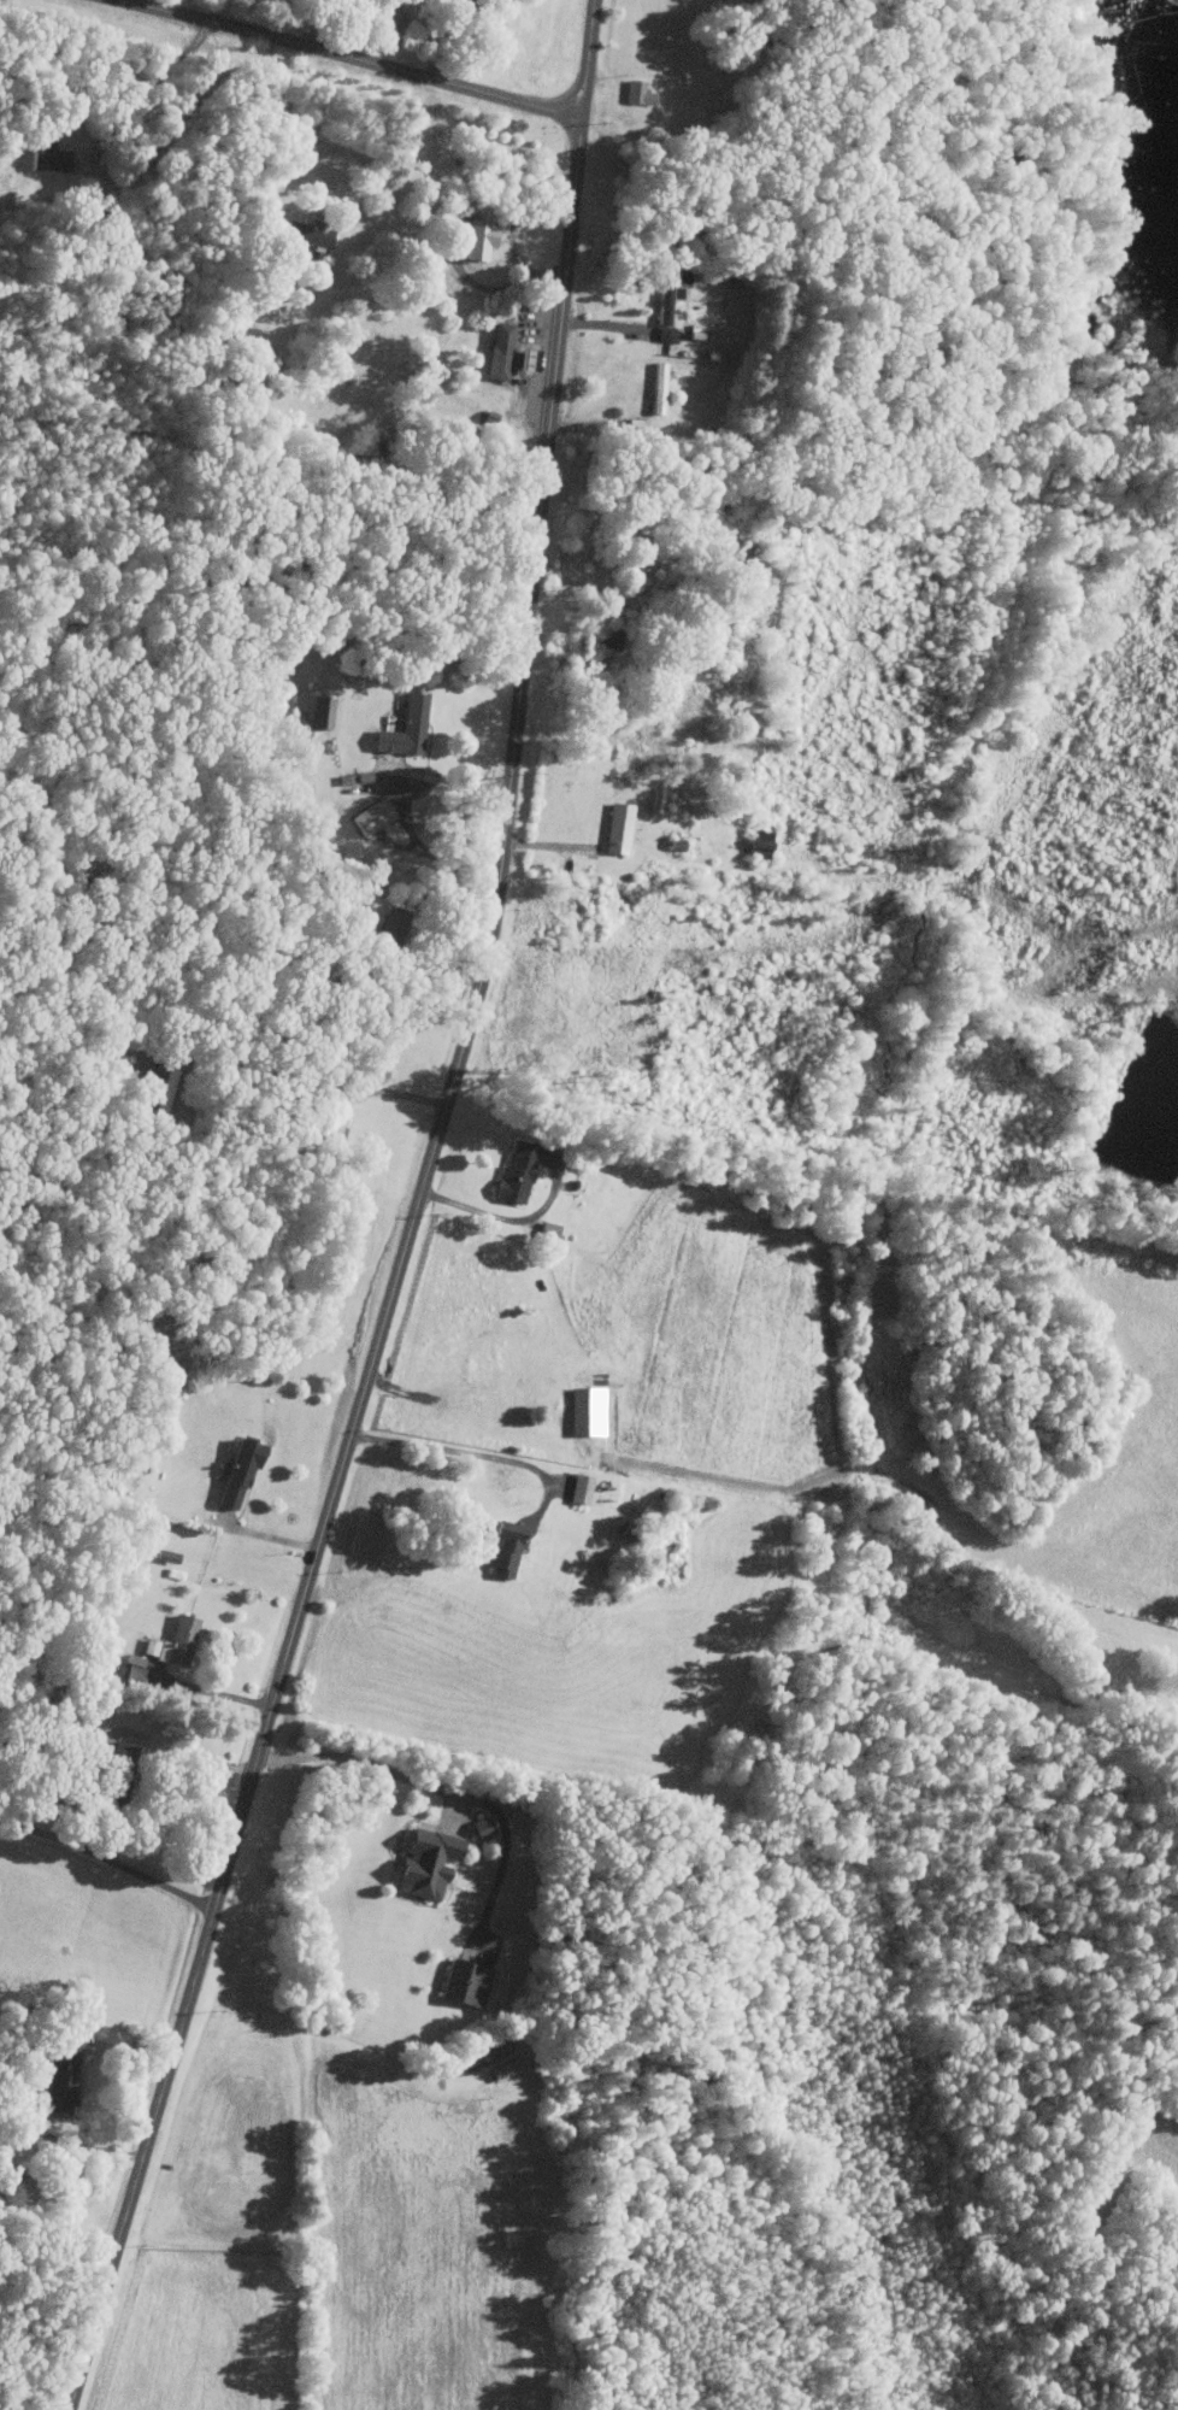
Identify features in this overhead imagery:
road: (318, 23)
building: (394, 24)
road: (446, 39)
road: (348, 55)
road: (589, 59)
road: (141, 89)
building: (636, 94)
road: (282, 111)
building: (47, 158)
building: (306, 235)
building: (476, 241)
building: (662, 308)
building: (496, 352)
building: (522, 360)
building: (656, 392)
road: (589, 587)
building: (313, 711)
building: (402, 729)
road: (444, 787)
building: (367, 818)
building: (615, 829)
building: (758, 845)
road: (441, 854)
building: (389, 927)
road: (313, 1083)
building: (158, 1097)
building: (514, 1170)
road: (512, 1218)
road: (395, 1279)
building: (585, 1411)
road: (475, 1453)
building: (235, 1471)
building: (578, 1488)
building: (502, 1548)
building: (163, 1556)
building: (170, 1642)
building: (131, 1670)
road: (208, 1691)
road: (111, 1733)
road: (441, 1787)
building: (478, 1828)
road: (108, 1859)
building: (422, 1863)
building: (463, 1983)
building: (501, 2071)
road: (29, 2074)
building: (59, 2077)

